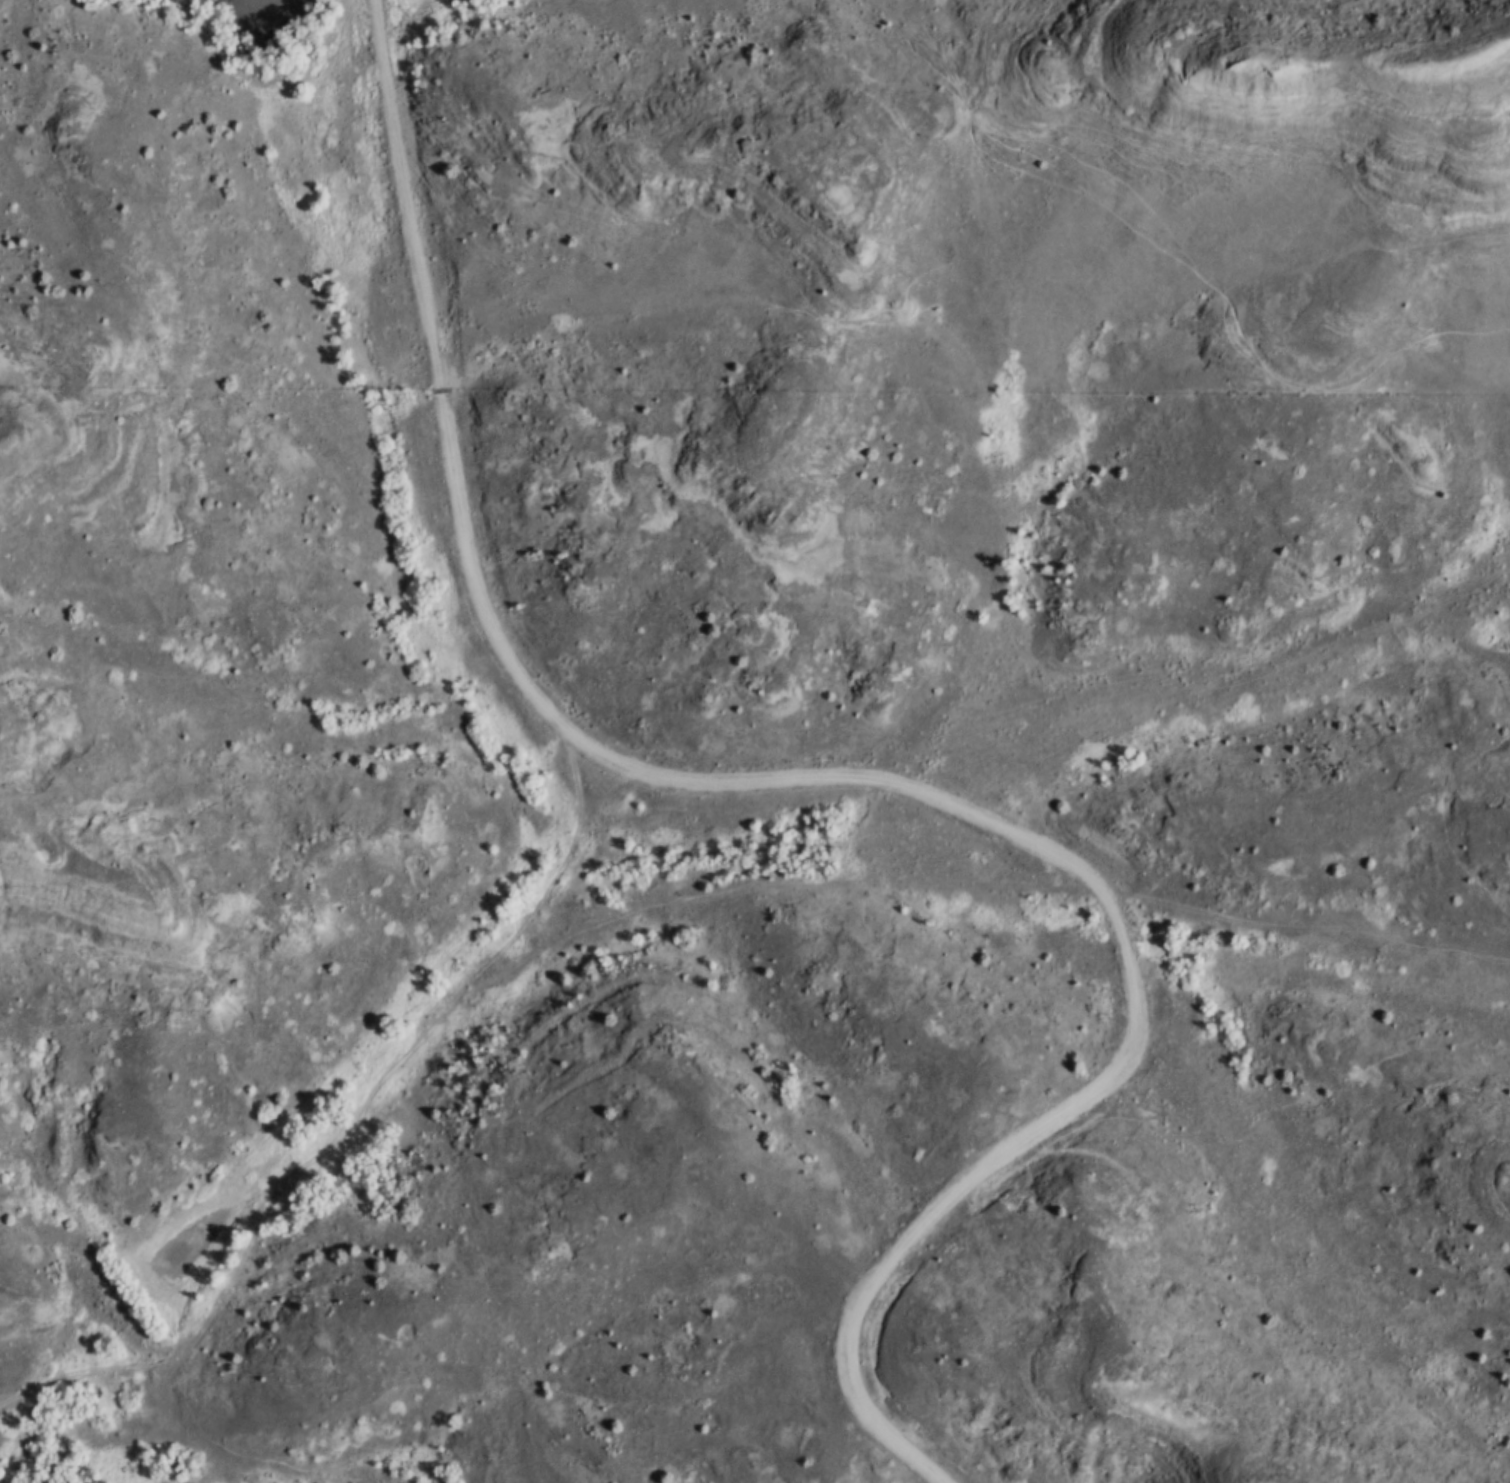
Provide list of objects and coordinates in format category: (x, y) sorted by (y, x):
road: (833, 774)
road: (343, 1122)

